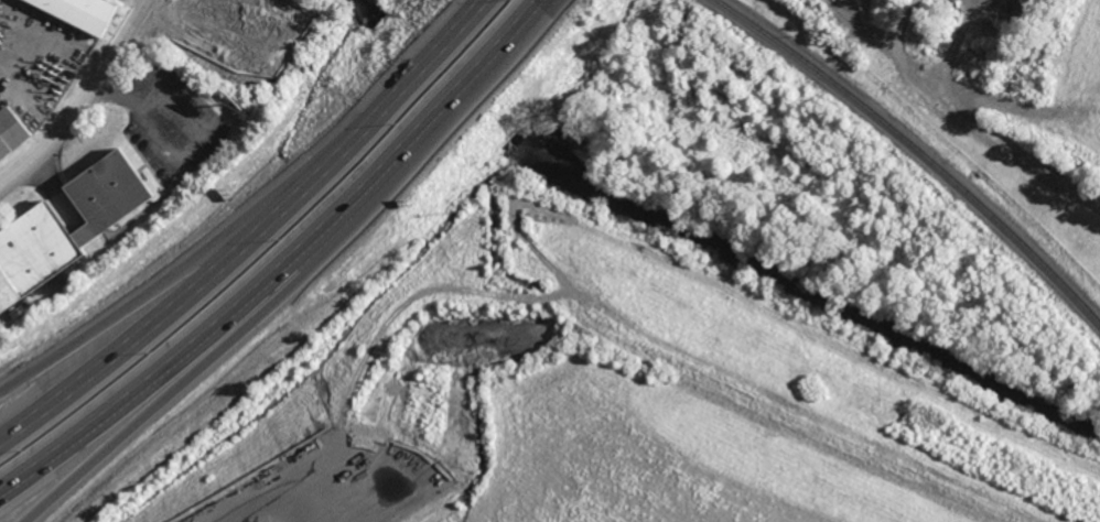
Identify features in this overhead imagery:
road: (141, 3)
building: (83, 11)
road: (955, 46)
road: (898, 48)
road: (84, 100)
road: (433, 113)
building: (11, 132)
railway: (917, 149)
road: (1012, 154)
road: (256, 233)
building: (36, 254)
road: (126, 308)
road: (170, 366)
road: (192, 382)
road: (263, 504)

